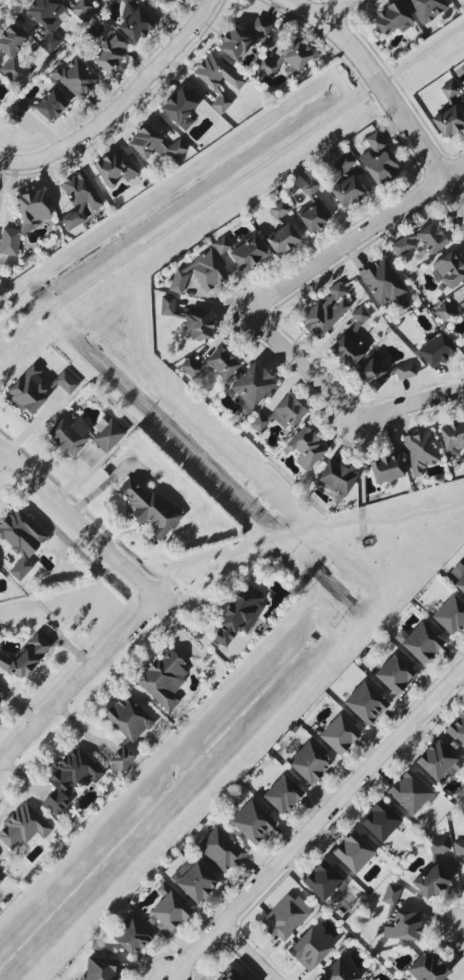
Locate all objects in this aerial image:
building: (125, 1)
road: (2, 2)
building: (165, 2)
building: (82, 9)
building: (427, 9)
road: (327, 16)
building: (391, 19)
building: (48, 20)
building: (135, 25)
building: (243, 38)
building: (109, 52)
building: (290, 55)
building: (14, 56)
building: (264, 68)
building: (74, 78)
building: (217, 80)
road: (380, 86)
building: (463, 88)
building: (448, 90)
building: (0, 104)
building: (50, 105)
building: (179, 108)
building: (17, 109)
road: (135, 119)
building: (448, 121)
building: (374, 143)
building: (154, 144)
building: (344, 162)
building: (379, 167)
building: (115, 168)
building: (80, 191)
building: (346, 191)
building: (32, 207)
building: (312, 207)
building: (278, 210)
building: (72, 219)
road: (356, 234)
building: (282, 238)
building: (421, 240)
building: (9, 241)
building: (247, 253)
building: (447, 270)
building: (200, 273)
building: (384, 284)
building: (460, 299)
building: (167, 306)
building: (325, 312)
building: (360, 316)
building: (198, 326)
building: (345, 346)
building: (435, 349)
road: (297, 370)
building: (382, 372)
building: (65, 382)
building: (251, 387)
building: (28, 391)
road: (411, 405)
building: (280, 415)
building: (83, 434)
building: (452, 438)
building: (305, 448)
building: (421, 451)
road: (1, 456)
building: (386, 468)
building: (335, 477)
building: (150, 509)
road: (73, 524)
building: (21, 533)
building: (20, 568)
building: (460, 584)
building: (239, 614)
building: (450, 615)
building: (421, 643)
building: (26, 657)
building: (395, 674)
road: (74, 678)
building: (163, 679)
building: (0, 694)
building: (365, 703)
building: (128, 718)
building: (457, 729)
building: (339, 734)
building: (121, 760)
building: (438, 761)
building: (309, 763)
building: (70, 779)
building: (410, 793)
building: (282, 794)
building: (380, 821)
building: (252, 822)
road: (313, 823)
building: (23, 826)
building: (438, 845)
building: (458, 846)
building: (221, 850)
building: (353, 852)
building: (1, 879)
building: (322, 881)
building: (430, 881)
building: (195, 883)
building: (390, 894)
building: (168, 914)
building: (285, 917)
building: (402, 925)
road: (462, 932)
building: (132, 935)
building: (310, 949)
road: (245, 953)
building: (100, 968)
building: (427, 968)
building: (338, 972)
building: (231, 976)

